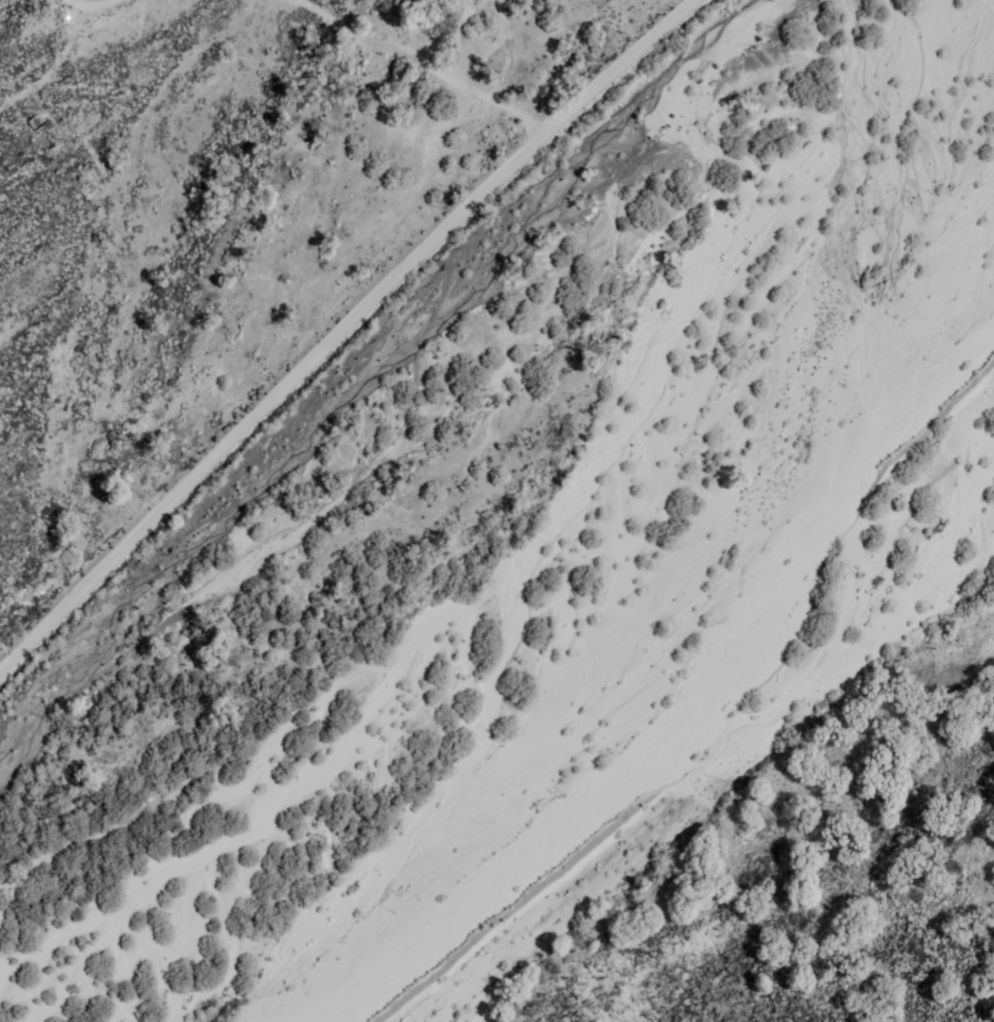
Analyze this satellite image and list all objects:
river: (795, 845)

